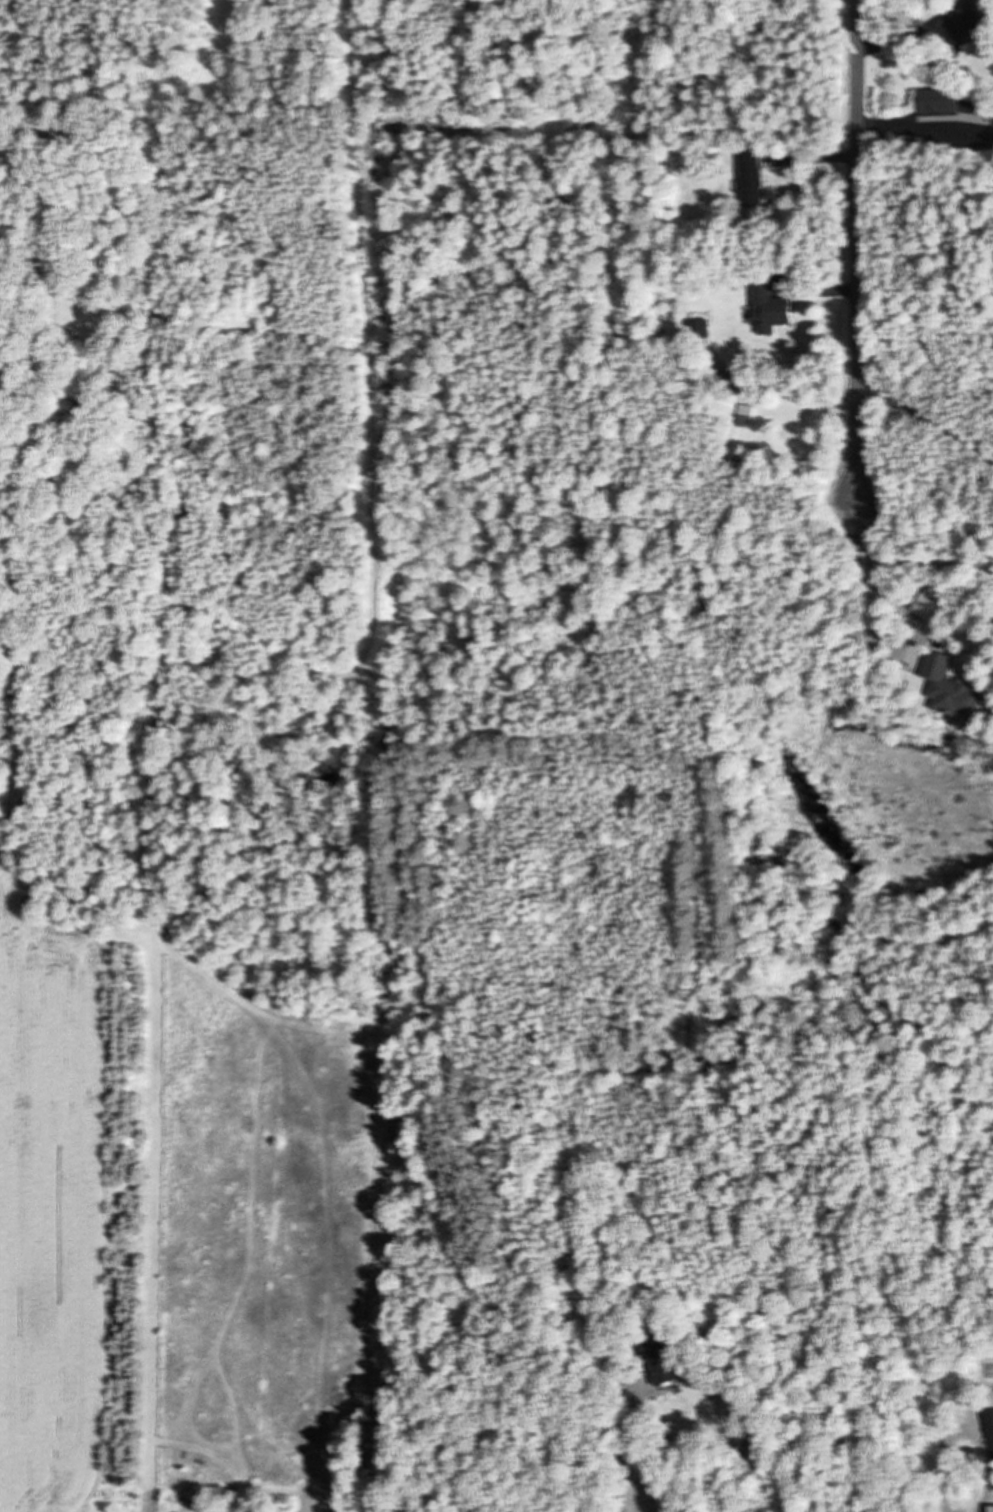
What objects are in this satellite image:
building: (958, 102)
building: (755, 181)
road: (858, 250)
building: (774, 311)
building: (957, 686)
crop: (69, 1200)
building: (664, 1363)
building: (992, 1418)
building: (177, 1461)
building: (655, 1505)
building: (992, 1508)

